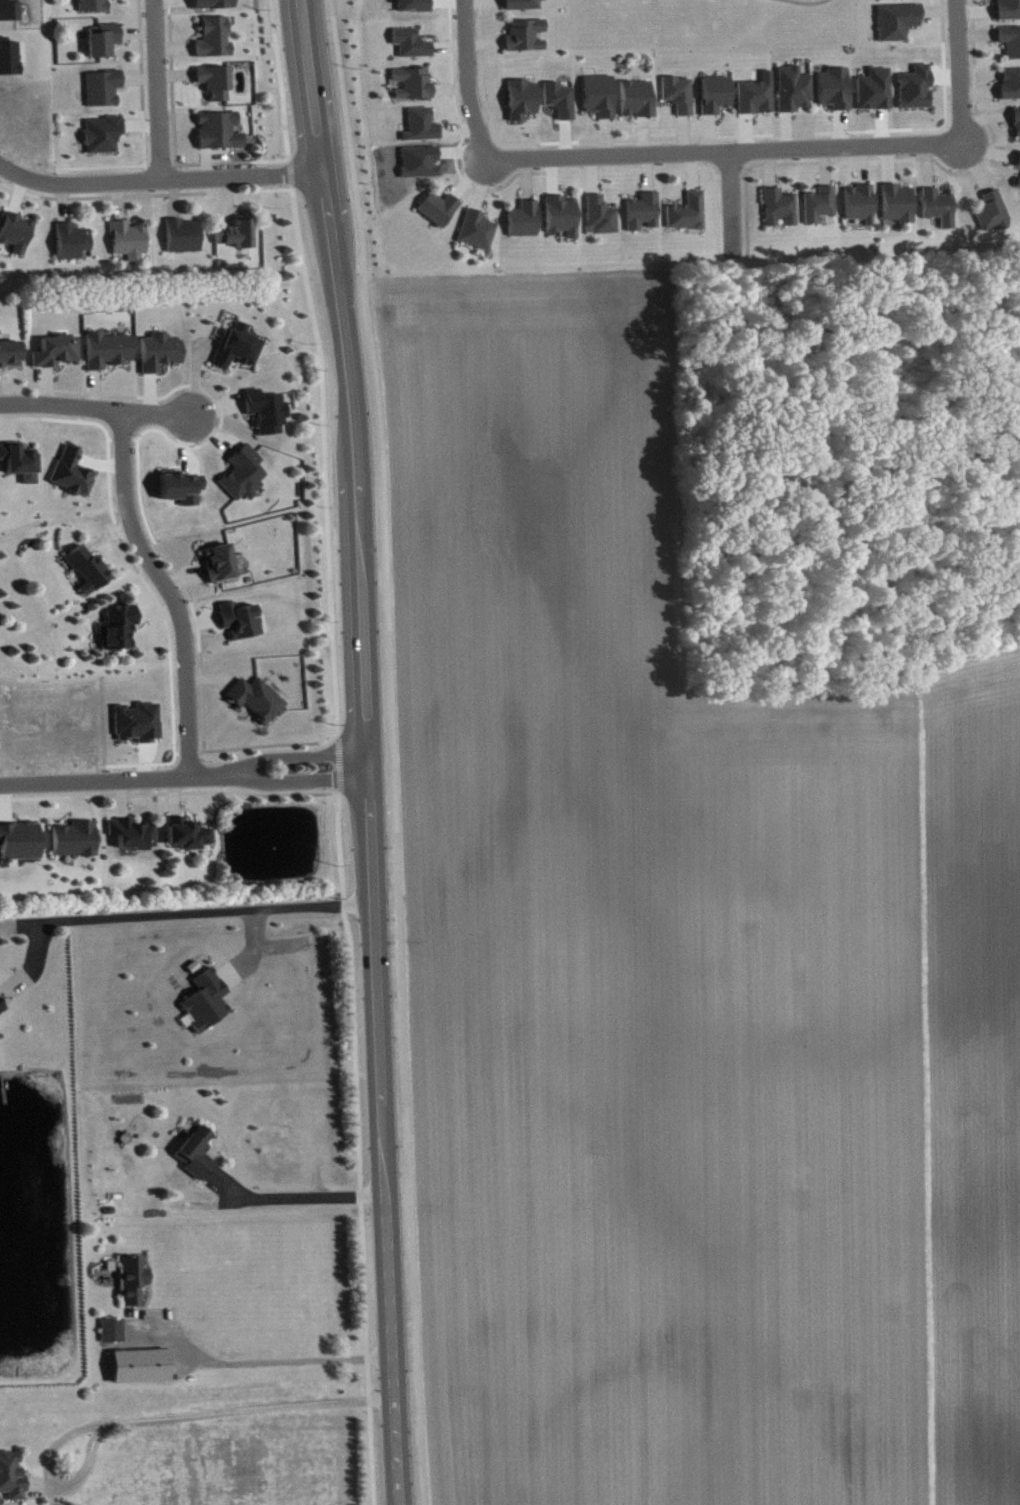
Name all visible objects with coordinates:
building: (898, 2)
building: (214, 7)
building: (413, 8)
building: (524, 8)
building: (94, 9)
building: (1008, 13)
building: (897, 28)
building: (526, 41)
building: (215, 45)
building: (104, 46)
building: (1010, 48)
building: (411, 50)
building: (10, 63)
road: (957, 69)
road: (280, 79)
road: (465, 79)
building: (216, 88)
road: (156, 89)
building: (413, 90)
building: (1010, 90)
building: (104, 95)
building: (834, 95)
building: (794, 96)
building: (679, 101)
building: (716, 101)
building: (600, 102)
building: (756, 103)
building: (638, 105)
building: (522, 106)
building: (560, 106)
building: (1017, 130)
building: (422, 132)
building: (220, 137)
building: (103, 141)
road: (723, 148)
road: (4, 166)
building: (1019, 169)
road: (290, 171)
road: (164, 177)
building: (1019, 189)
road: (144, 194)
road: (727, 201)
building: (860, 210)
building: (820, 211)
building: (898, 211)
building: (780, 214)
building: (939, 214)
building: (440, 215)
building: (643, 218)
building: (688, 219)
building: (993, 220)
building: (562, 222)
building: (602, 223)
building: (524, 226)
building: (233, 231)
building: (477, 236)
building: (17, 238)
building: (184, 242)
building: (72, 247)
building: (129, 247)
building: (238, 354)
building: (109, 357)
building: (57, 358)
building: (161, 359)
building: (10, 360)
road: (94, 406)
building: (267, 418)
road: (323, 457)
building: (20, 469)
building: (74, 479)
building: (244, 480)
building: (220, 569)
building: (88, 576)
road: (163, 589)
building: (241, 627)
building: (119, 635)
building: (258, 706)
building: (139, 729)
road: (366, 750)
road: (393, 751)
road: (337, 761)
road: (183, 775)
building: (133, 841)
building: (188, 841)
building: (76, 846)
building: (21, 848)
road: (204, 921)
crop: (689, 962)
building: (207, 1008)
building: (2, 1014)
road: (357, 1147)
building: (196, 1159)
road: (303, 1205)
building: (134, 1287)
building: (113, 1337)
road: (264, 1370)
building: (139, 1373)
road: (156, 1426)
building: (12, 1482)

